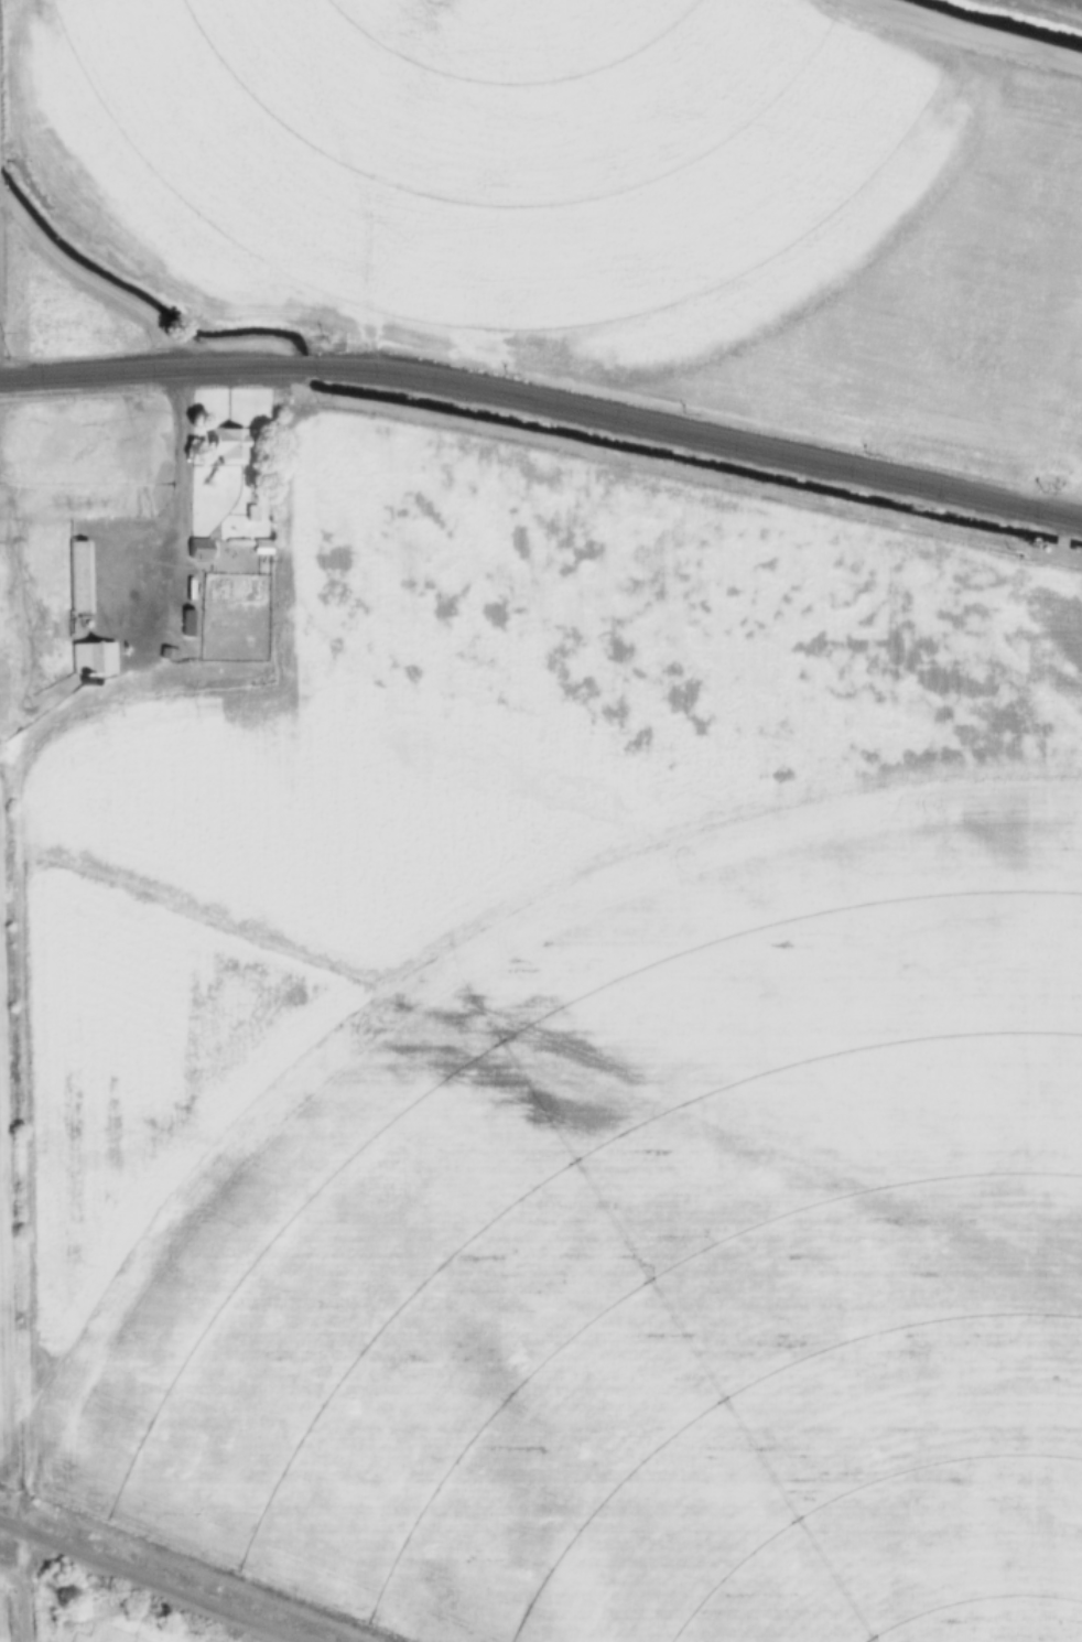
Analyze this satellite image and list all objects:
road: (1058, 7)
road: (970, 33)
crop: (593, 197)
road: (545, 401)
building: (226, 445)
building: (252, 515)
crop: (64, 522)
building: (263, 548)
building: (201, 550)
road: (224, 566)
building: (80, 577)
road: (177, 598)
building: (188, 624)
road: (172, 628)
road: (129, 645)
building: (156, 645)
building: (170, 655)
building: (94, 659)
road: (2, 776)
crop: (571, 1070)
crop: (4, 1177)
road: (147, 1582)
road: (22, 1601)
crop: (6, 1617)
crop: (122, 1630)

